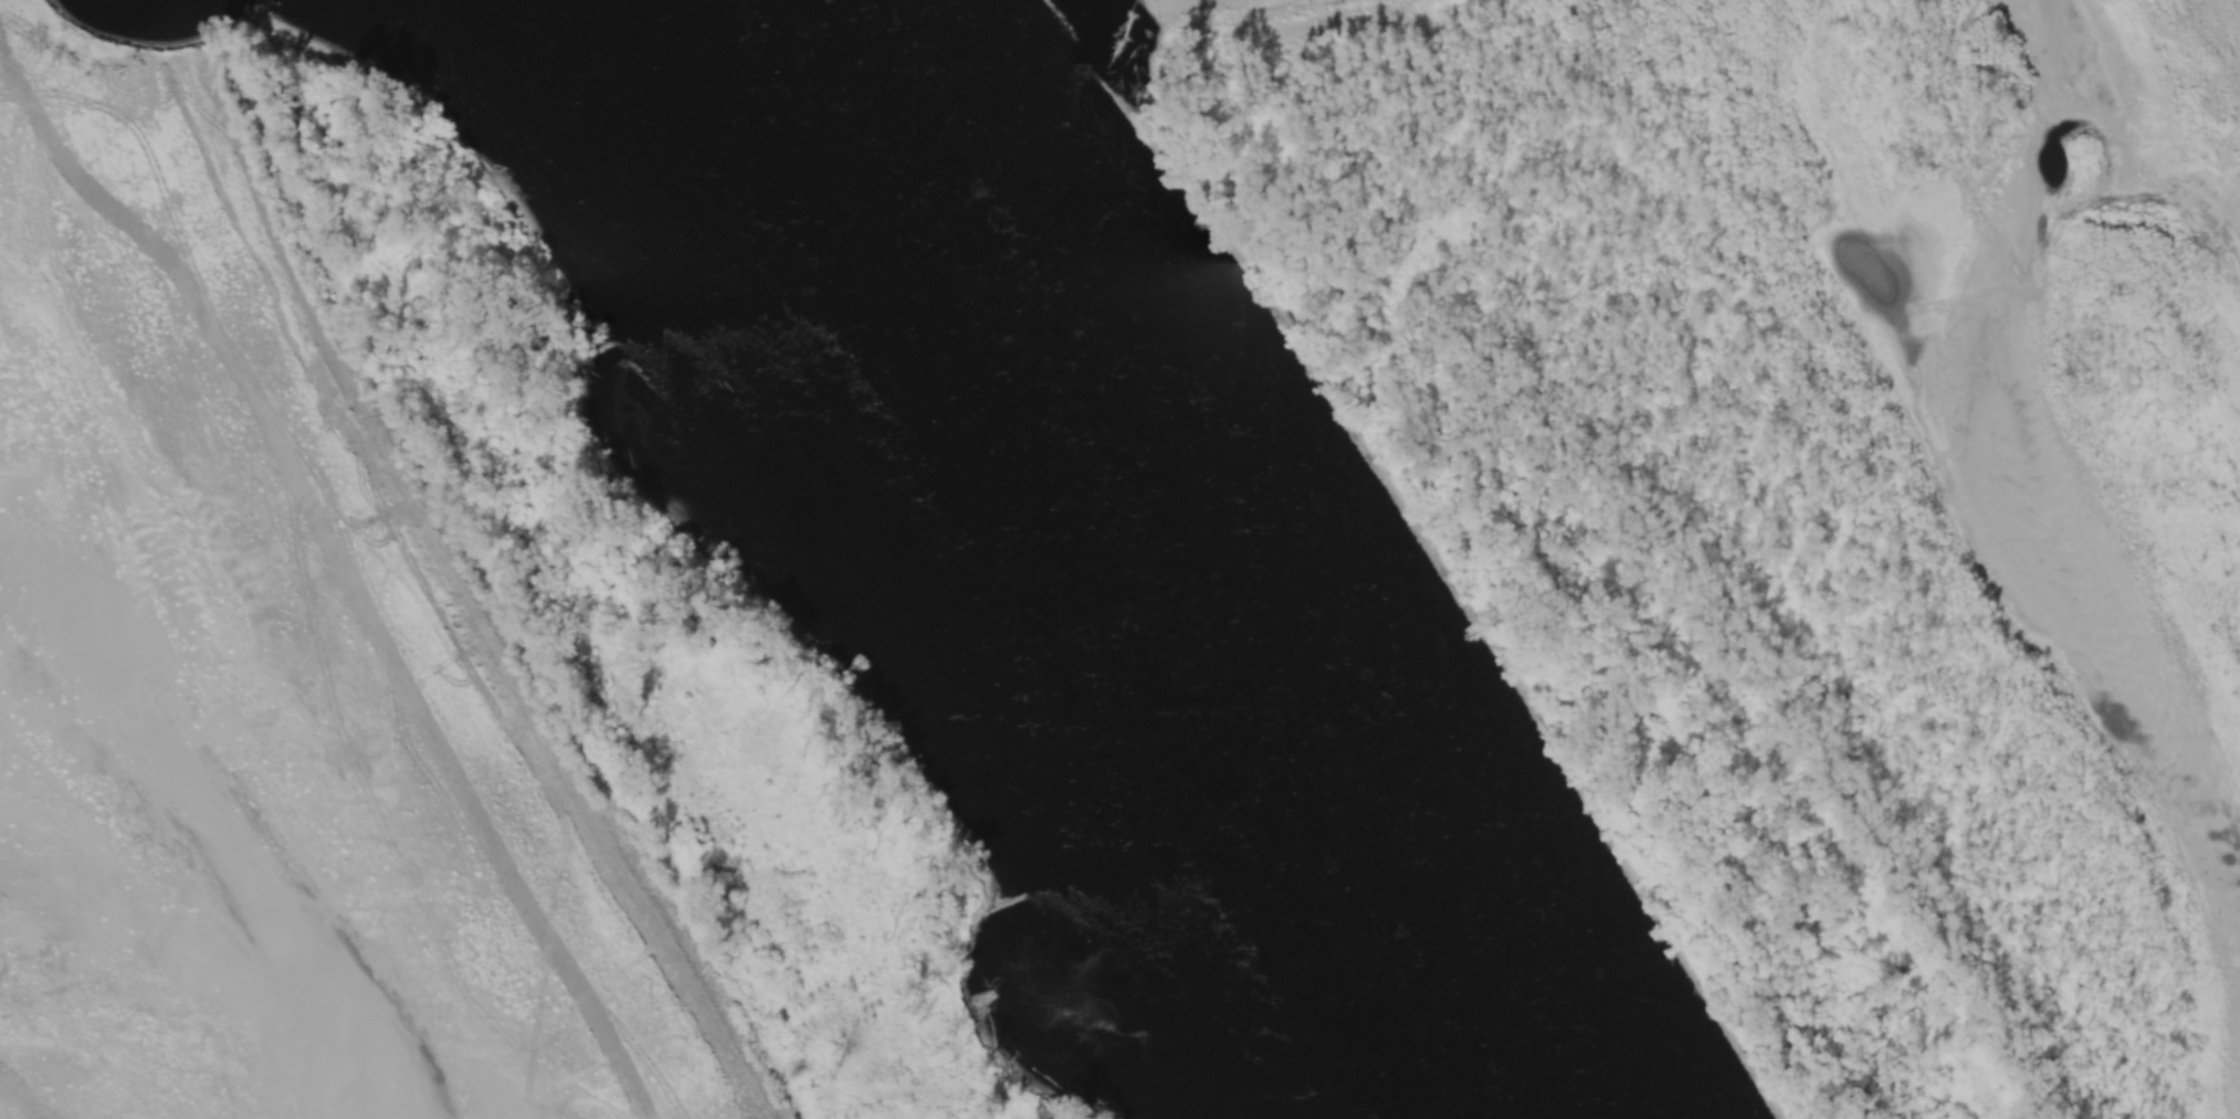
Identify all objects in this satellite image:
river: (1098, 549)

